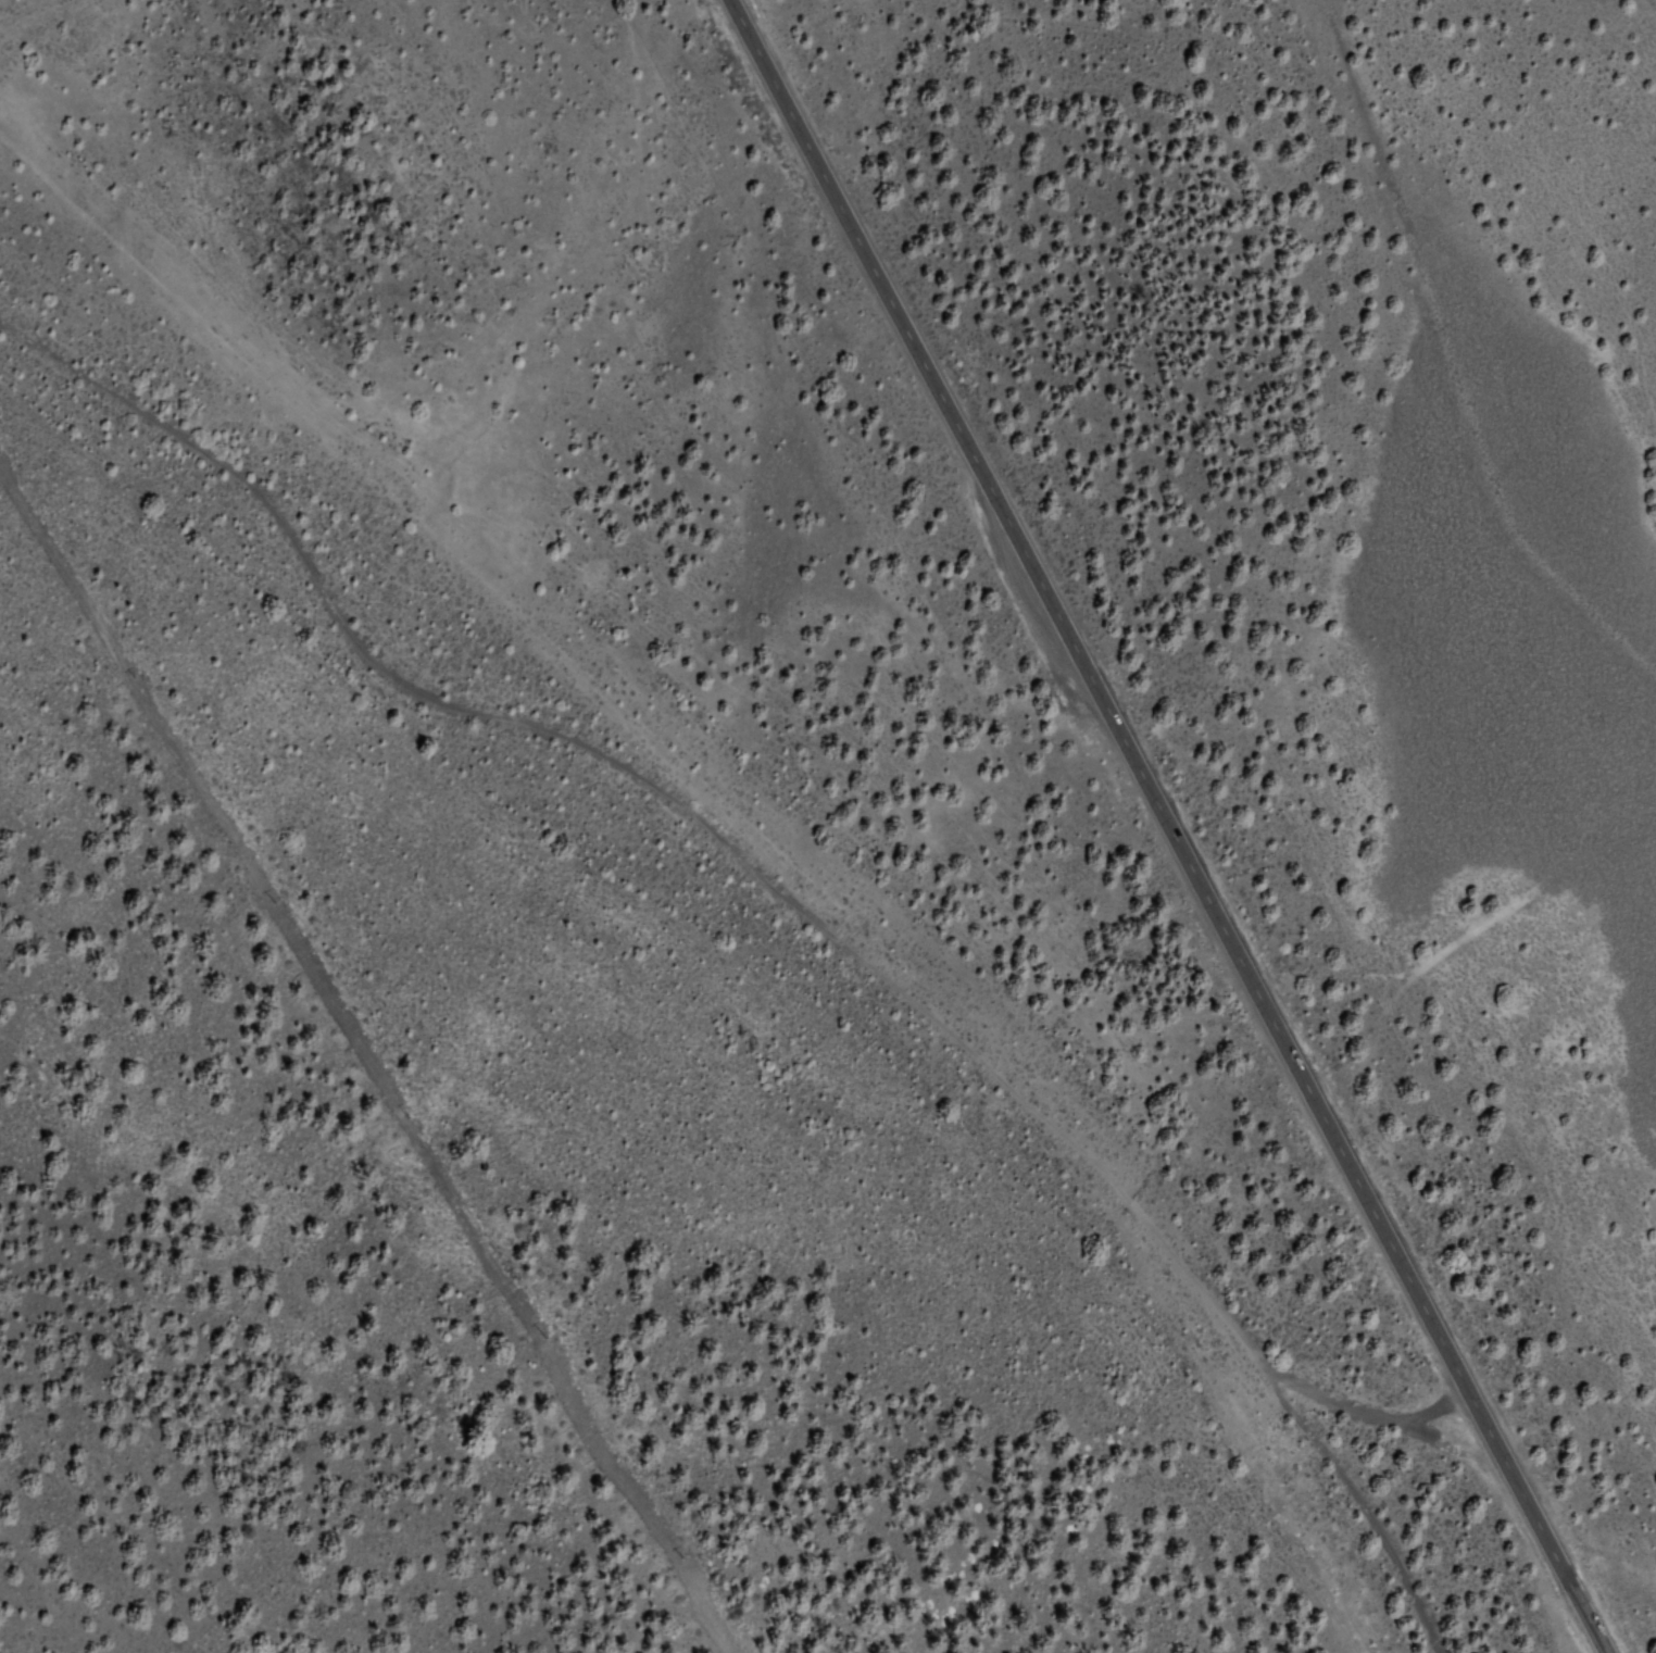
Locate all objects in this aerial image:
road: (1649, 7)
road: (1169, 826)
road: (789, 900)
road: (1454, 941)

